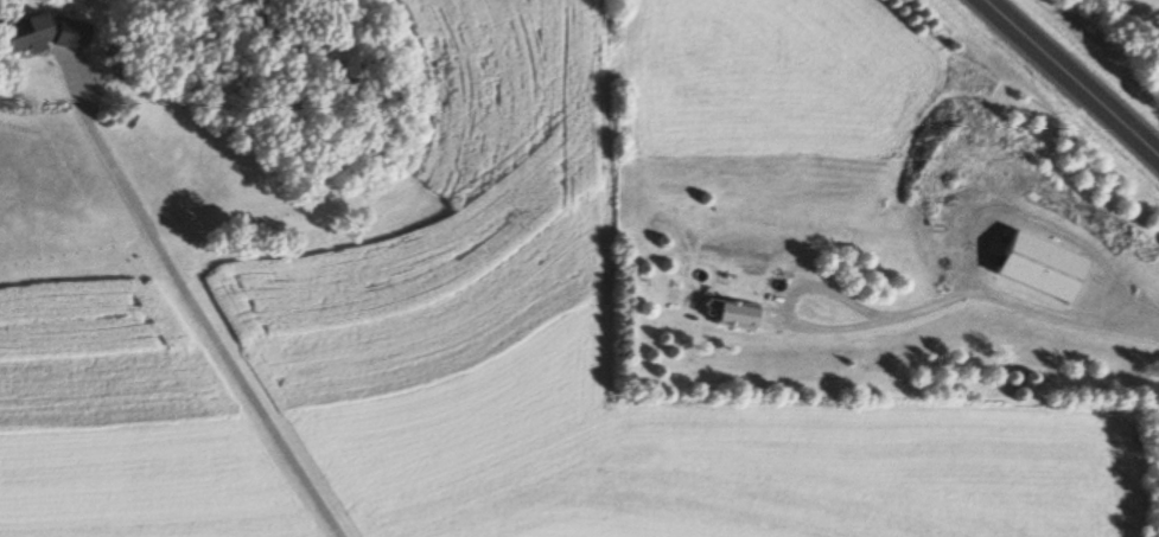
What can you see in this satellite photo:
building: (52, 34)
road: (1074, 76)
road: (1045, 223)
building: (1049, 267)
road: (1018, 301)
road: (784, 303)
building: (743, 315)
road: (215, 332)

